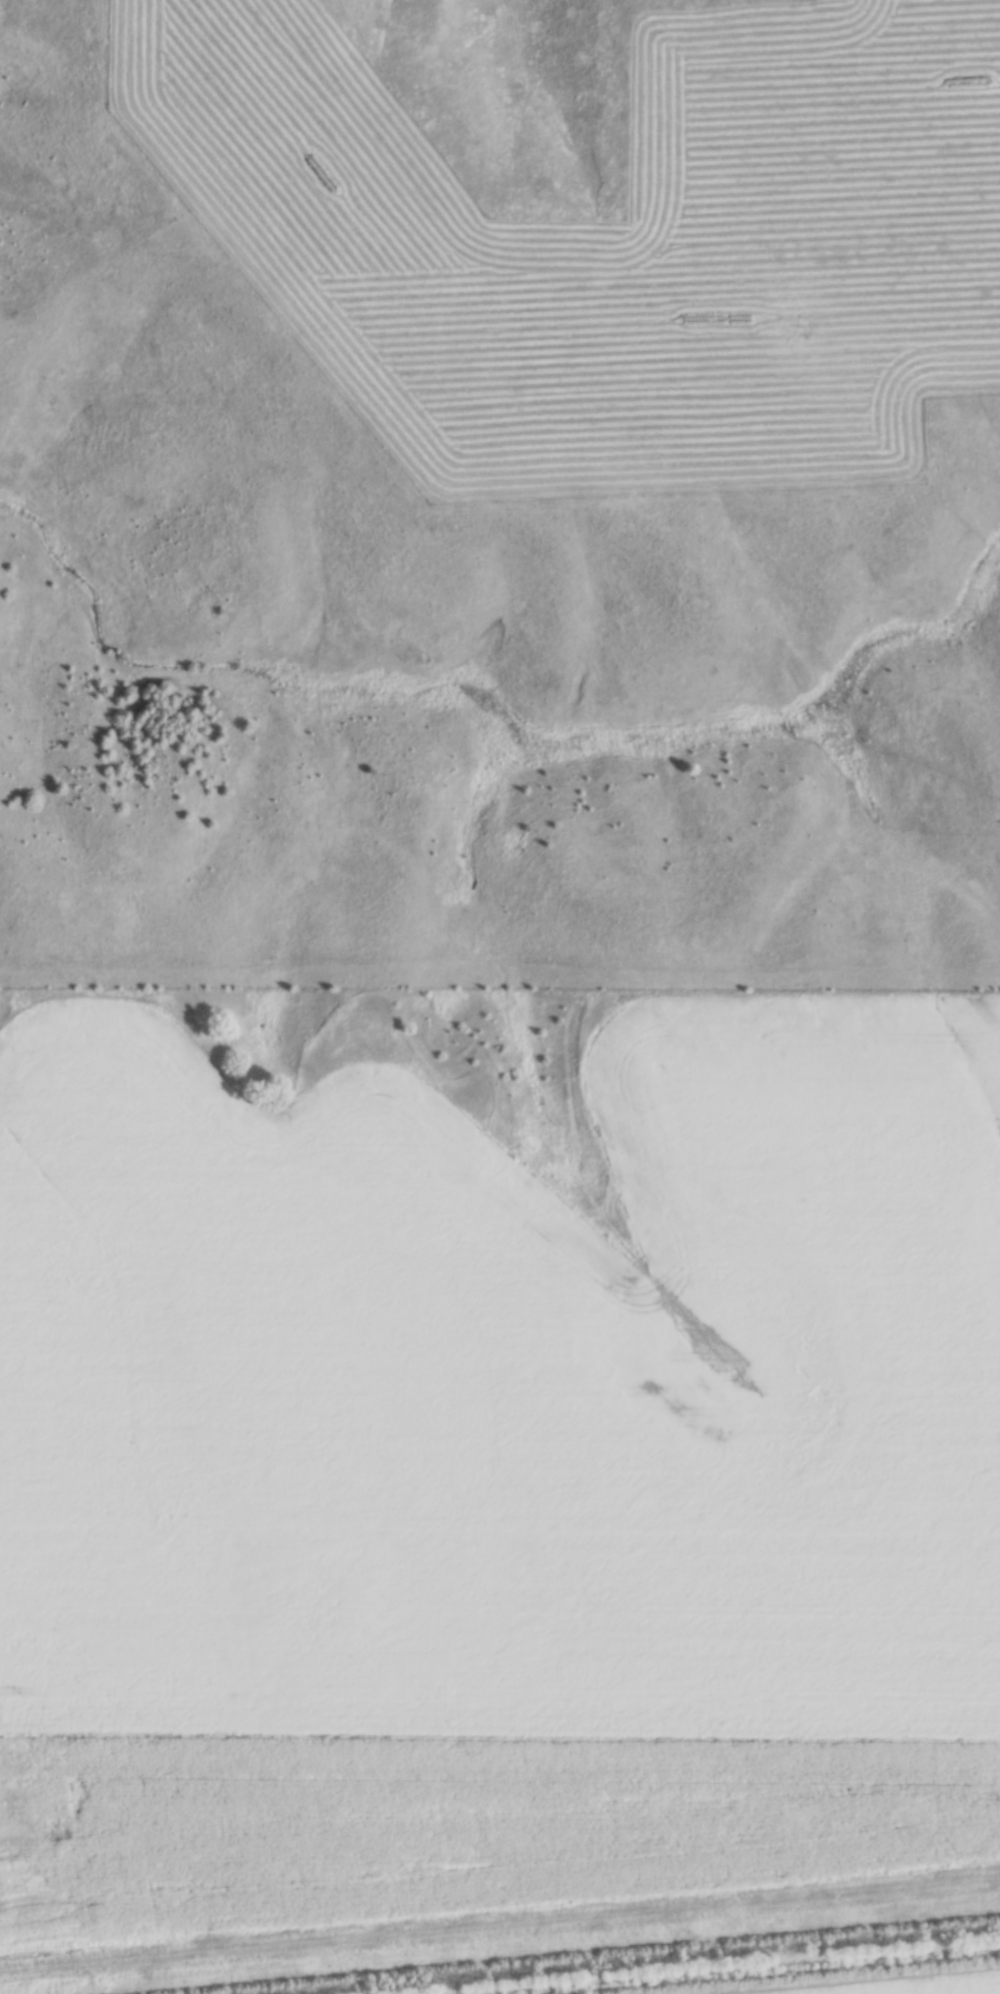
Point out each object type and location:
crop: (504, 1385)

